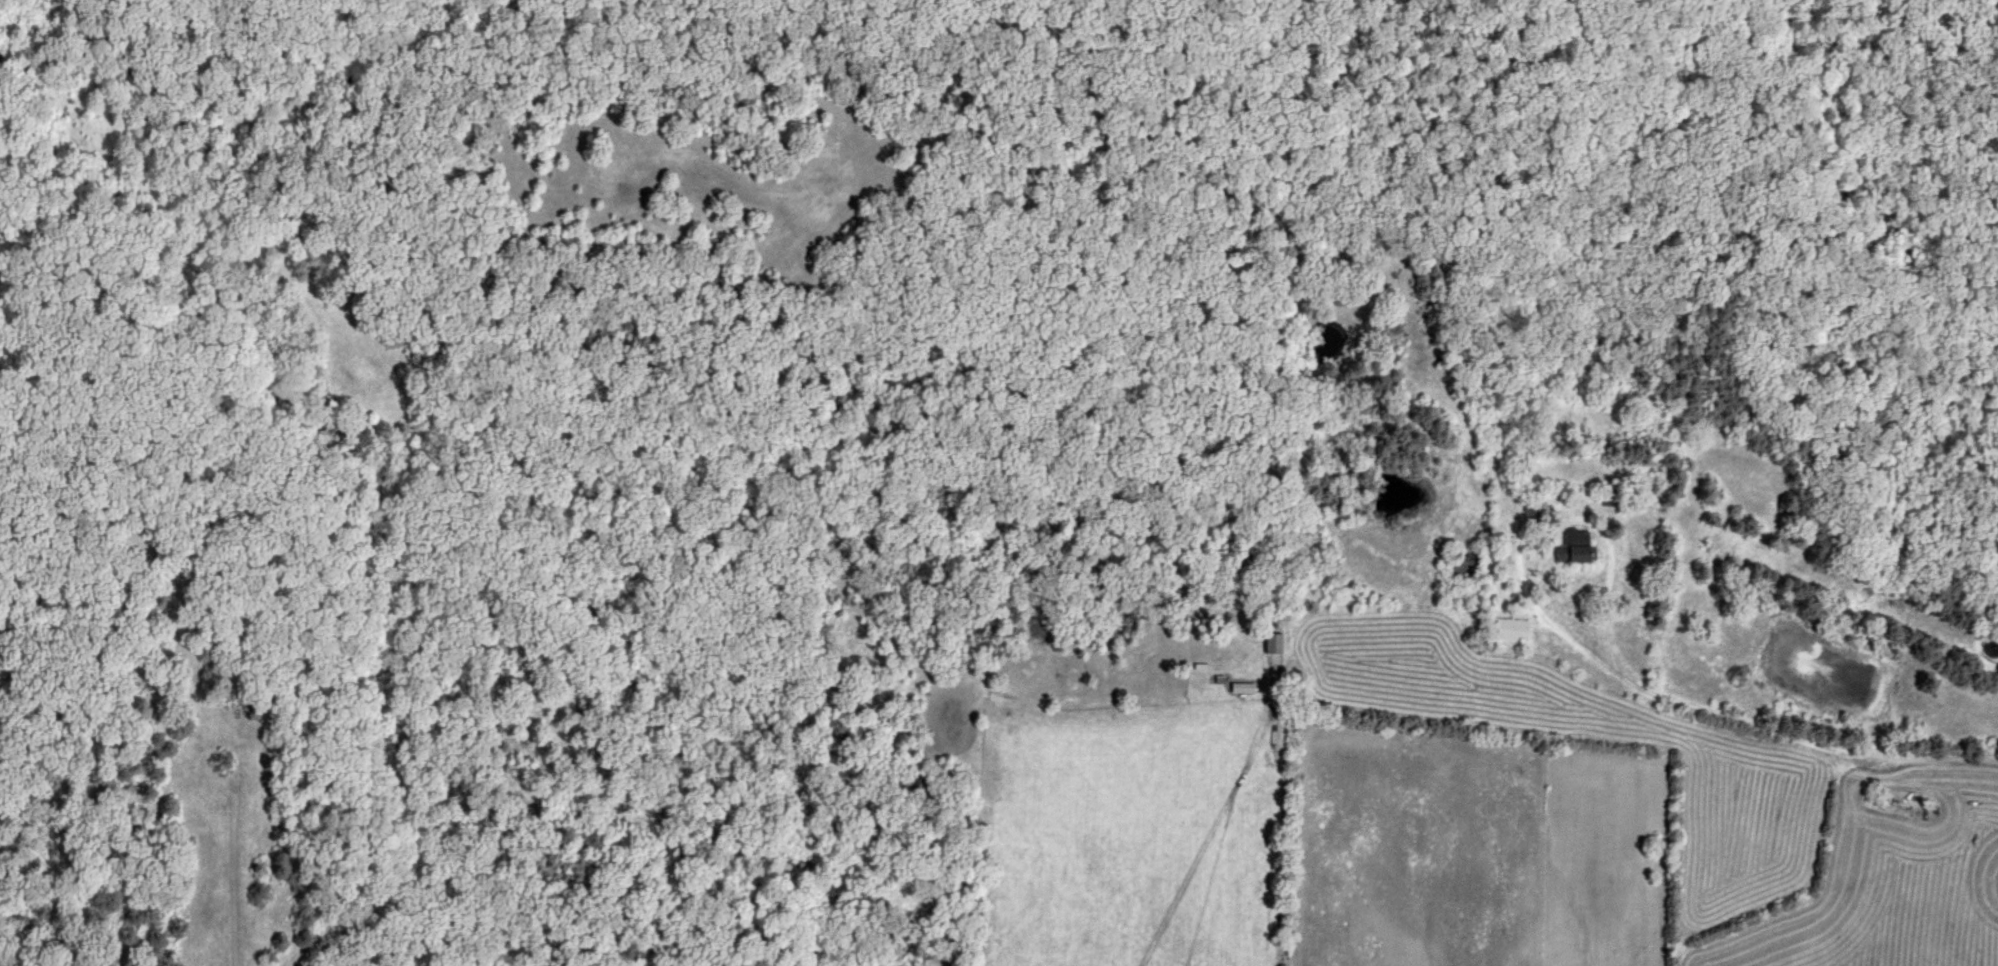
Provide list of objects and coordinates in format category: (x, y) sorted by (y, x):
building: (1533, 510)
road: (1540, 522)
building: (1571, 547)
building: (1507, 629)
road: (1798, 739)
road: (1210, 824)

